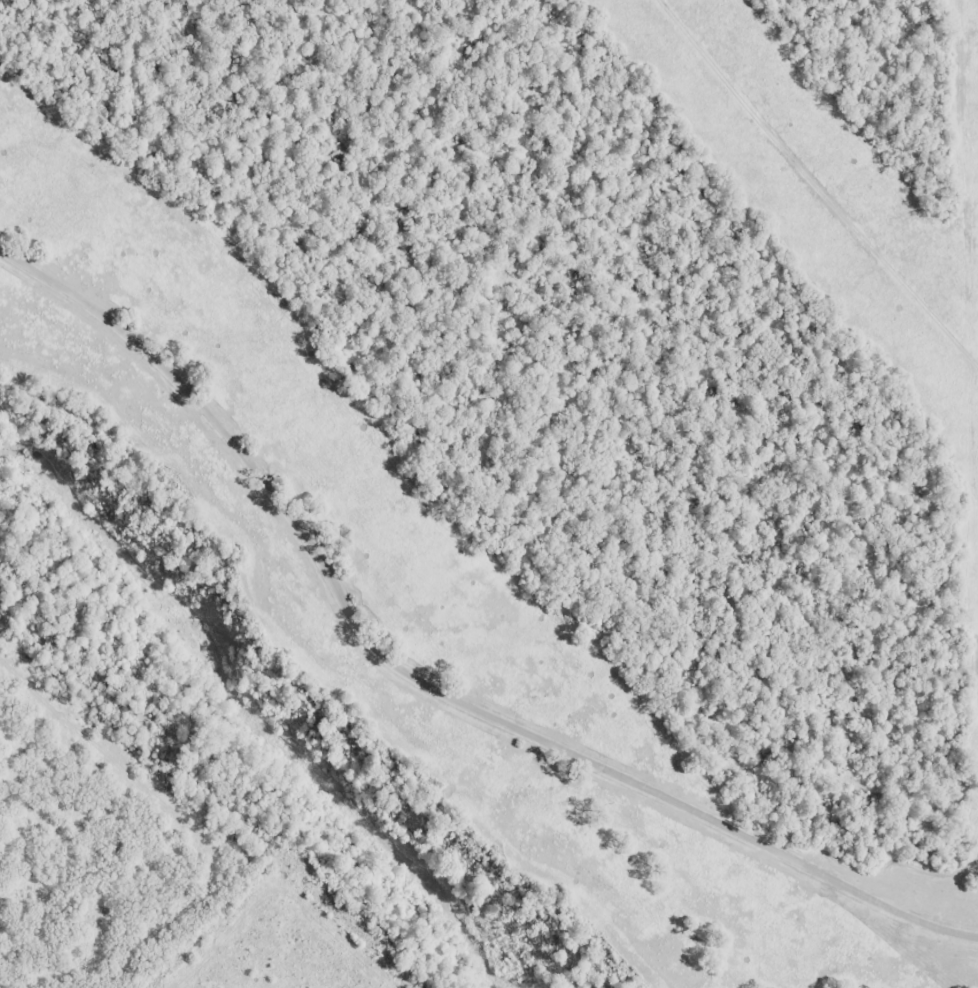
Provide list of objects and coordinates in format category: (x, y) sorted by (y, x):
road: (788, 207)
road: (426, 685)
river: (252, 718)

